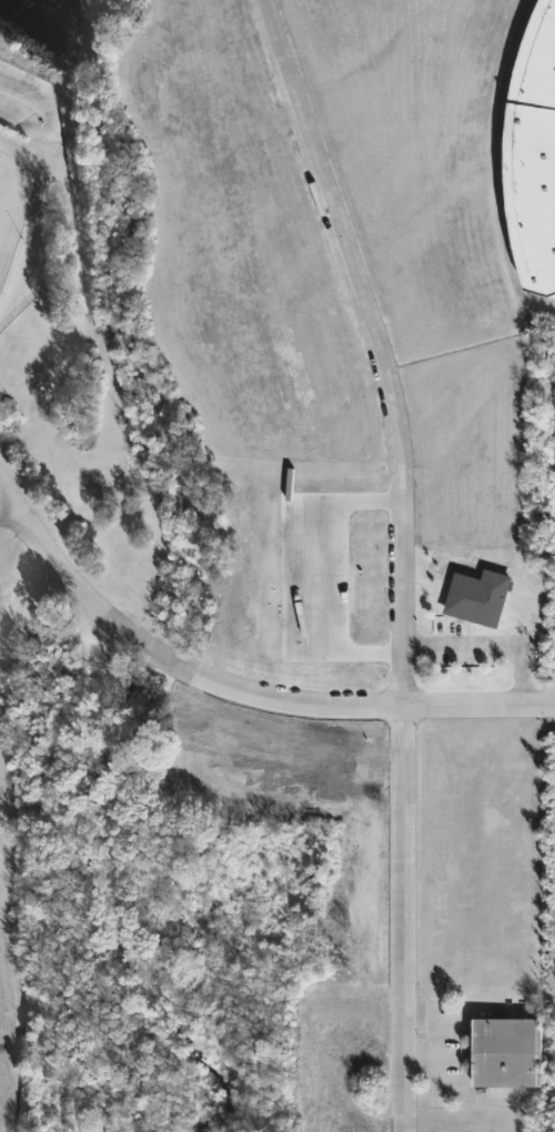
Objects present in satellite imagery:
building: (534, 151)
road: (495, 165)
road: (20, 195)
building: (554, 387)
road: (9, 514)
road: (404, 555)
road: (339, 578)
building: (477, 597)
road: (492, 644)
road: (238, 686)
building: (505, 1052)

